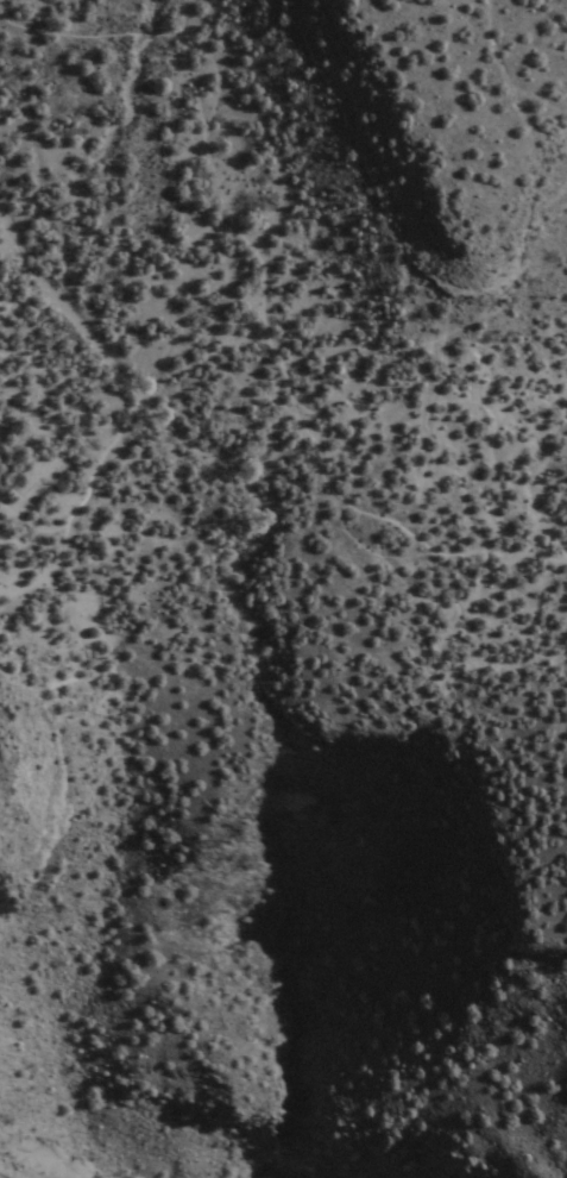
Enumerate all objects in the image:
road: (519, 205)
road: (256, 268)
road: (408, 413)
road: (360, 515)
road: (39, 574)
road: (108, 756)

